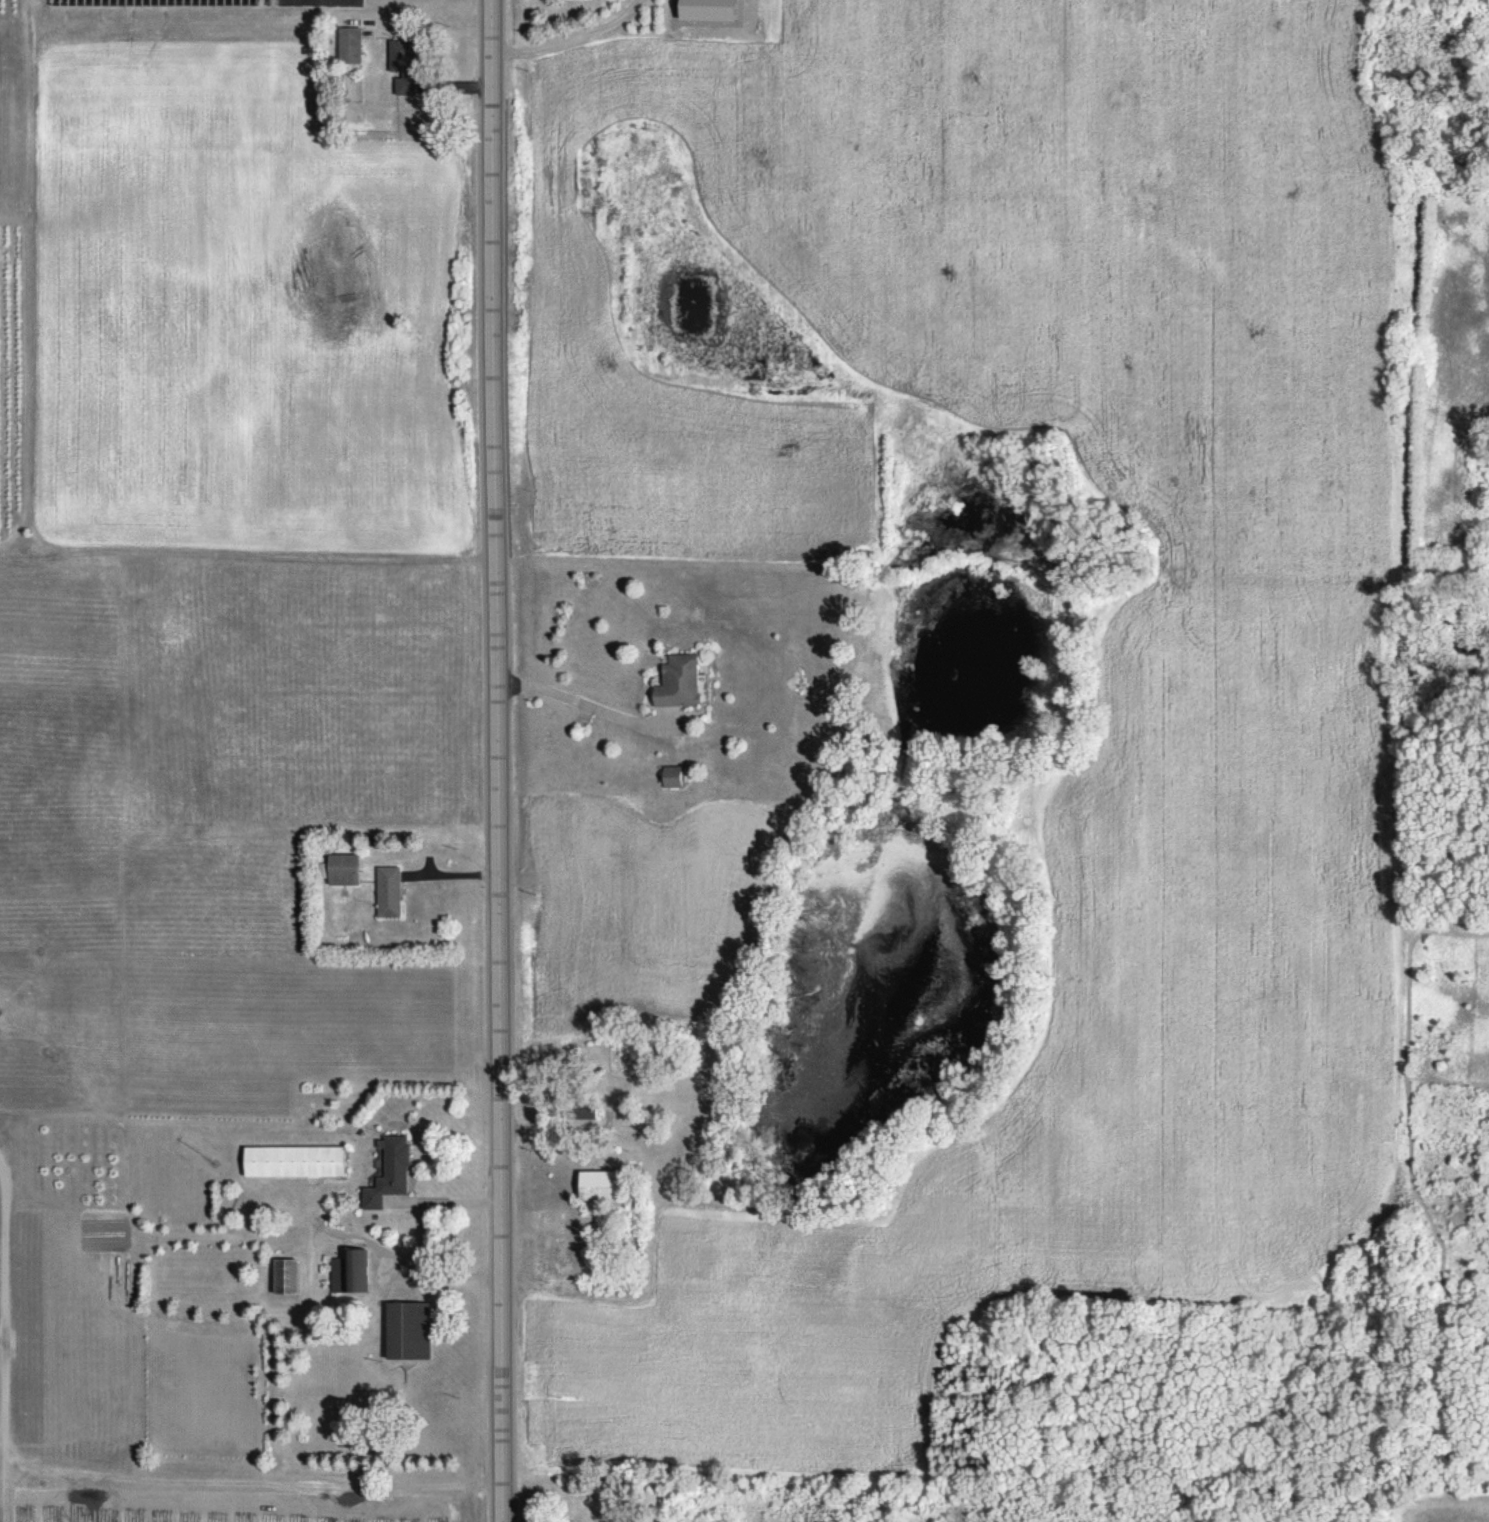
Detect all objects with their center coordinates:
building: (716, 9)
road: (572, 39)
building: (354, 44)
building: (407, 65)
road: (35, 280)
building: (683, 680)
road: (583, 702)
road: (498, 760)
building: (677, 776)
building: (348, 869)
building: (391, 891)
building: (300, 1160)
building: (392, 1172)
building: (608, 1185)
road: (422, 1241)
building: (353, 1271)
building: (290, 1276)
building: (414, 1330)

